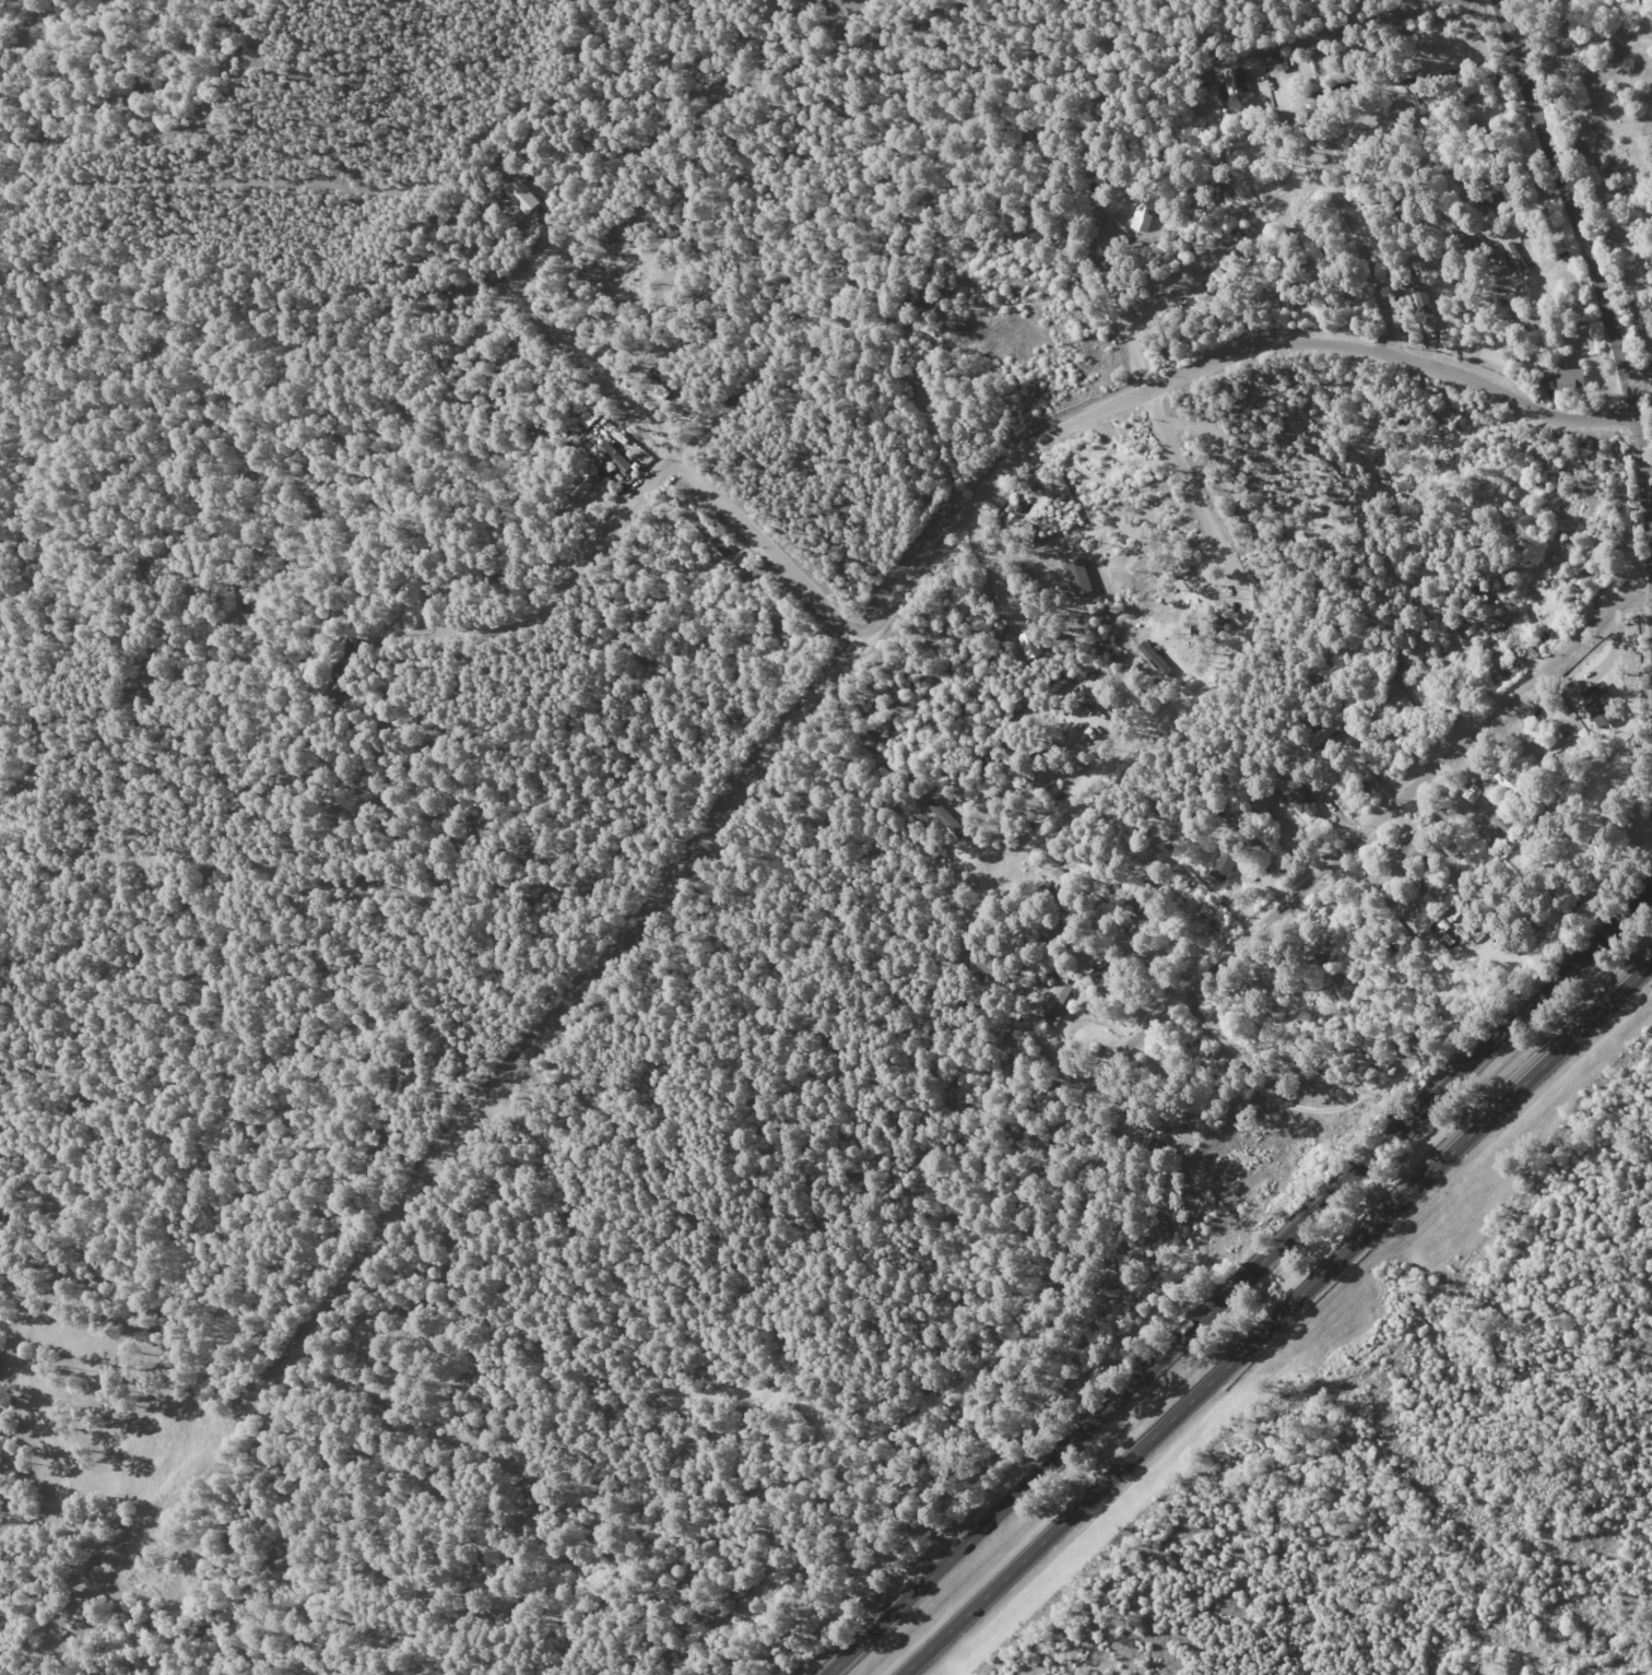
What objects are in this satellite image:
road: (1411, 81)
building: (1231, 83)
building: (1144, 213)
road: (1350, 227)
building: (1511, 249)
road: (1100, 257)
road: (1593, 257)
road: (527, 272)
road: (497, 304)
building: (1427, 307)
road: (1197, 367)
building: (1562, 378)
road: (712, 408)
road: (932, 433)
building: (614, 457)
road: (685, 467)
road: (999, 546)
road: (578, 567)
building: (1028, 644)
road: (1203, 672)
building: (1597, 705)
building: (1504, 777)
building: (1472, 792)
building: (1306, 800)
building: (1496, 818)
road: (1369, 827)
building: (1224, 862)
building: (1099, 977)
building: (1057, 996)
road: (1239, 1283)
road: (1277, 1318)
park: (1442, 1468)
road: (1649, 1673)

